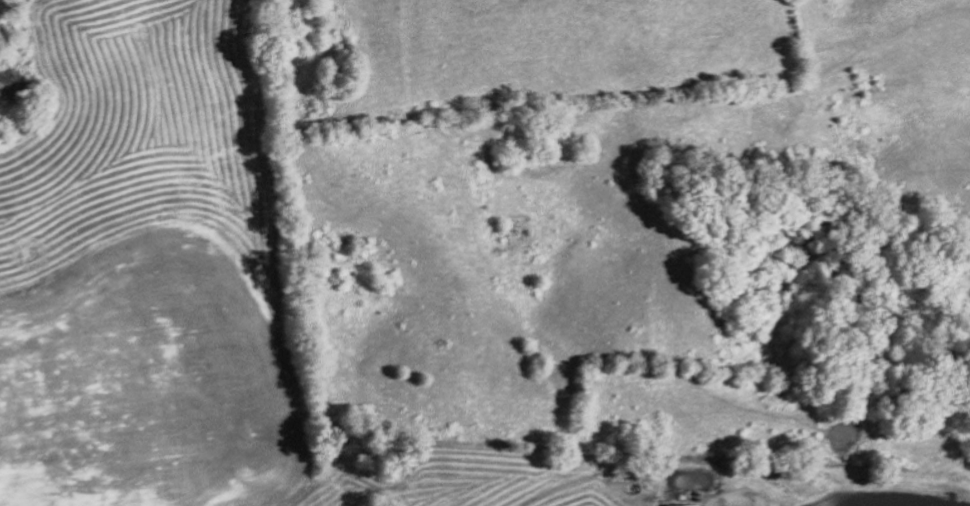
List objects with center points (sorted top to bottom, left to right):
building: (679, 504)

